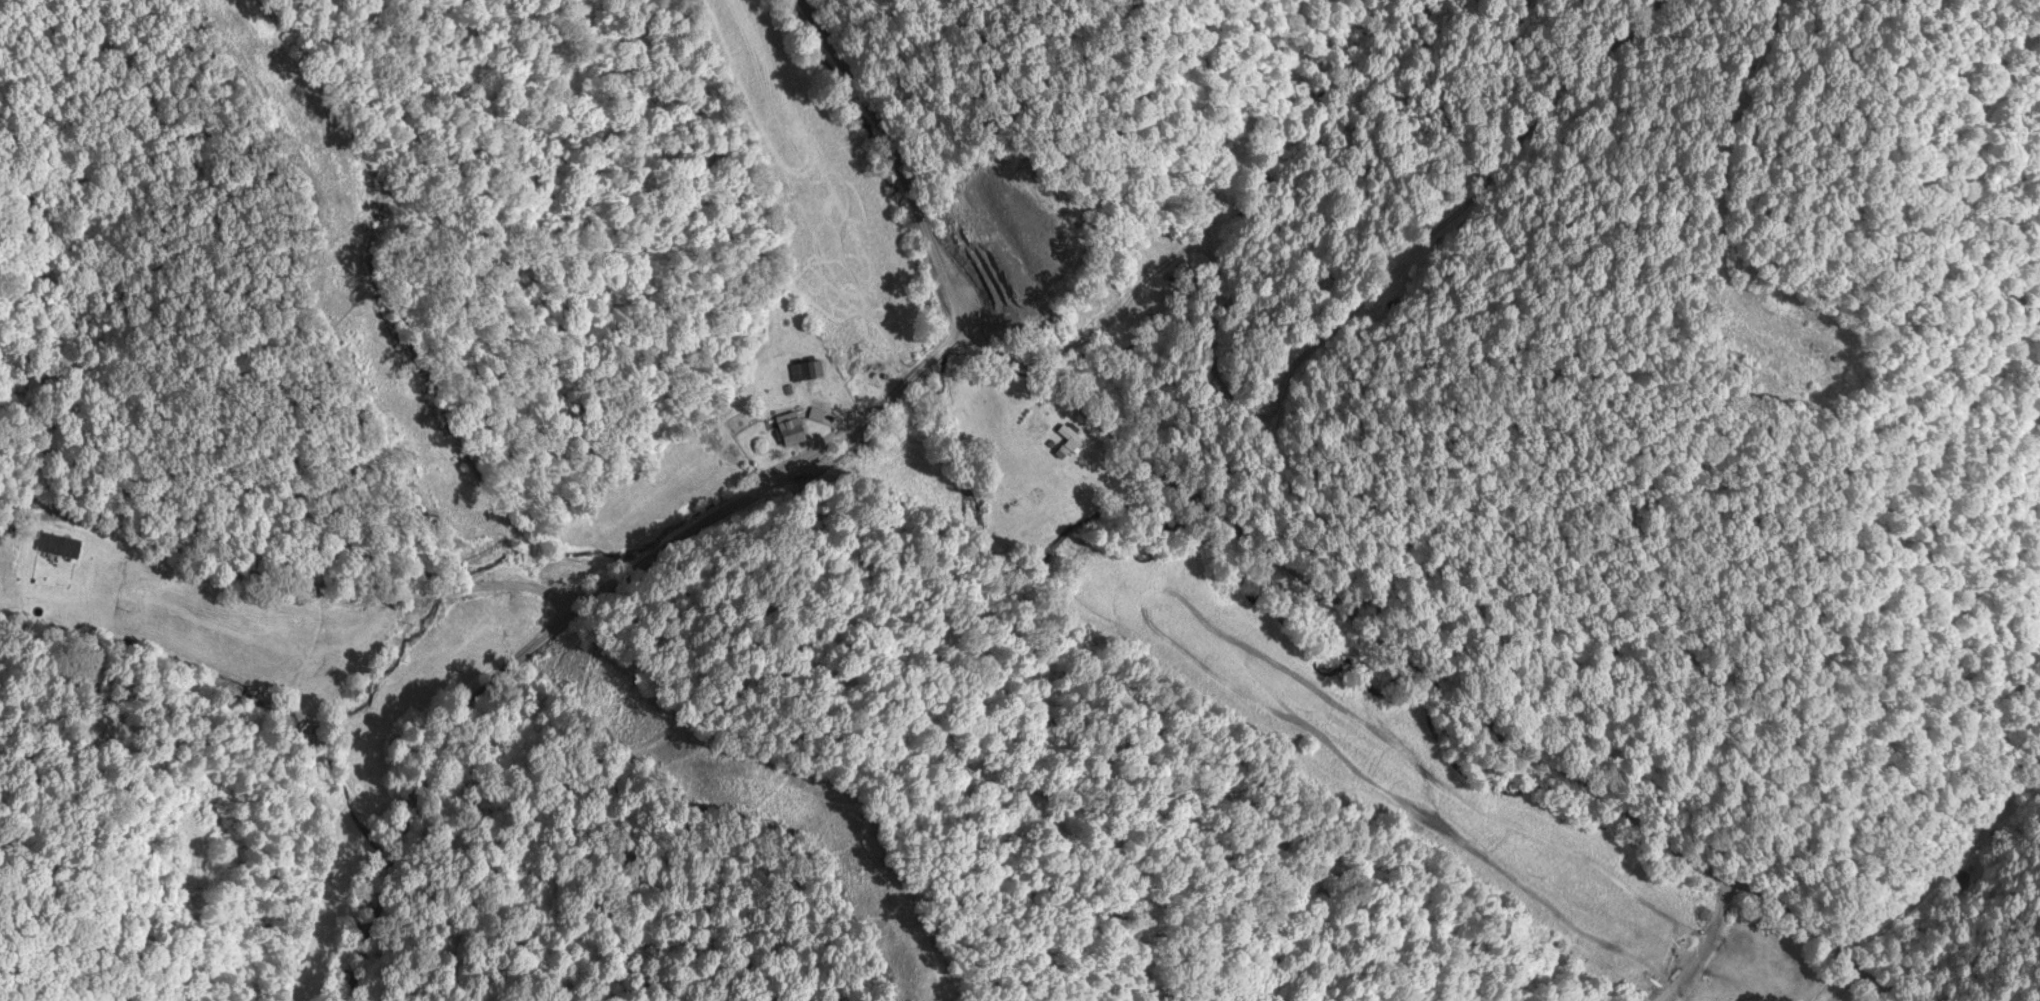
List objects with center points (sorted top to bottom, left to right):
road: (901, 161)
road: (946, 344)
building: (806, 371)
building: (797, 428)
building: (1078, 437)
road: (783, 475)
road: (314, 527)
building: (65, 545)
road: (1428, 670)
road: (438, 763)

